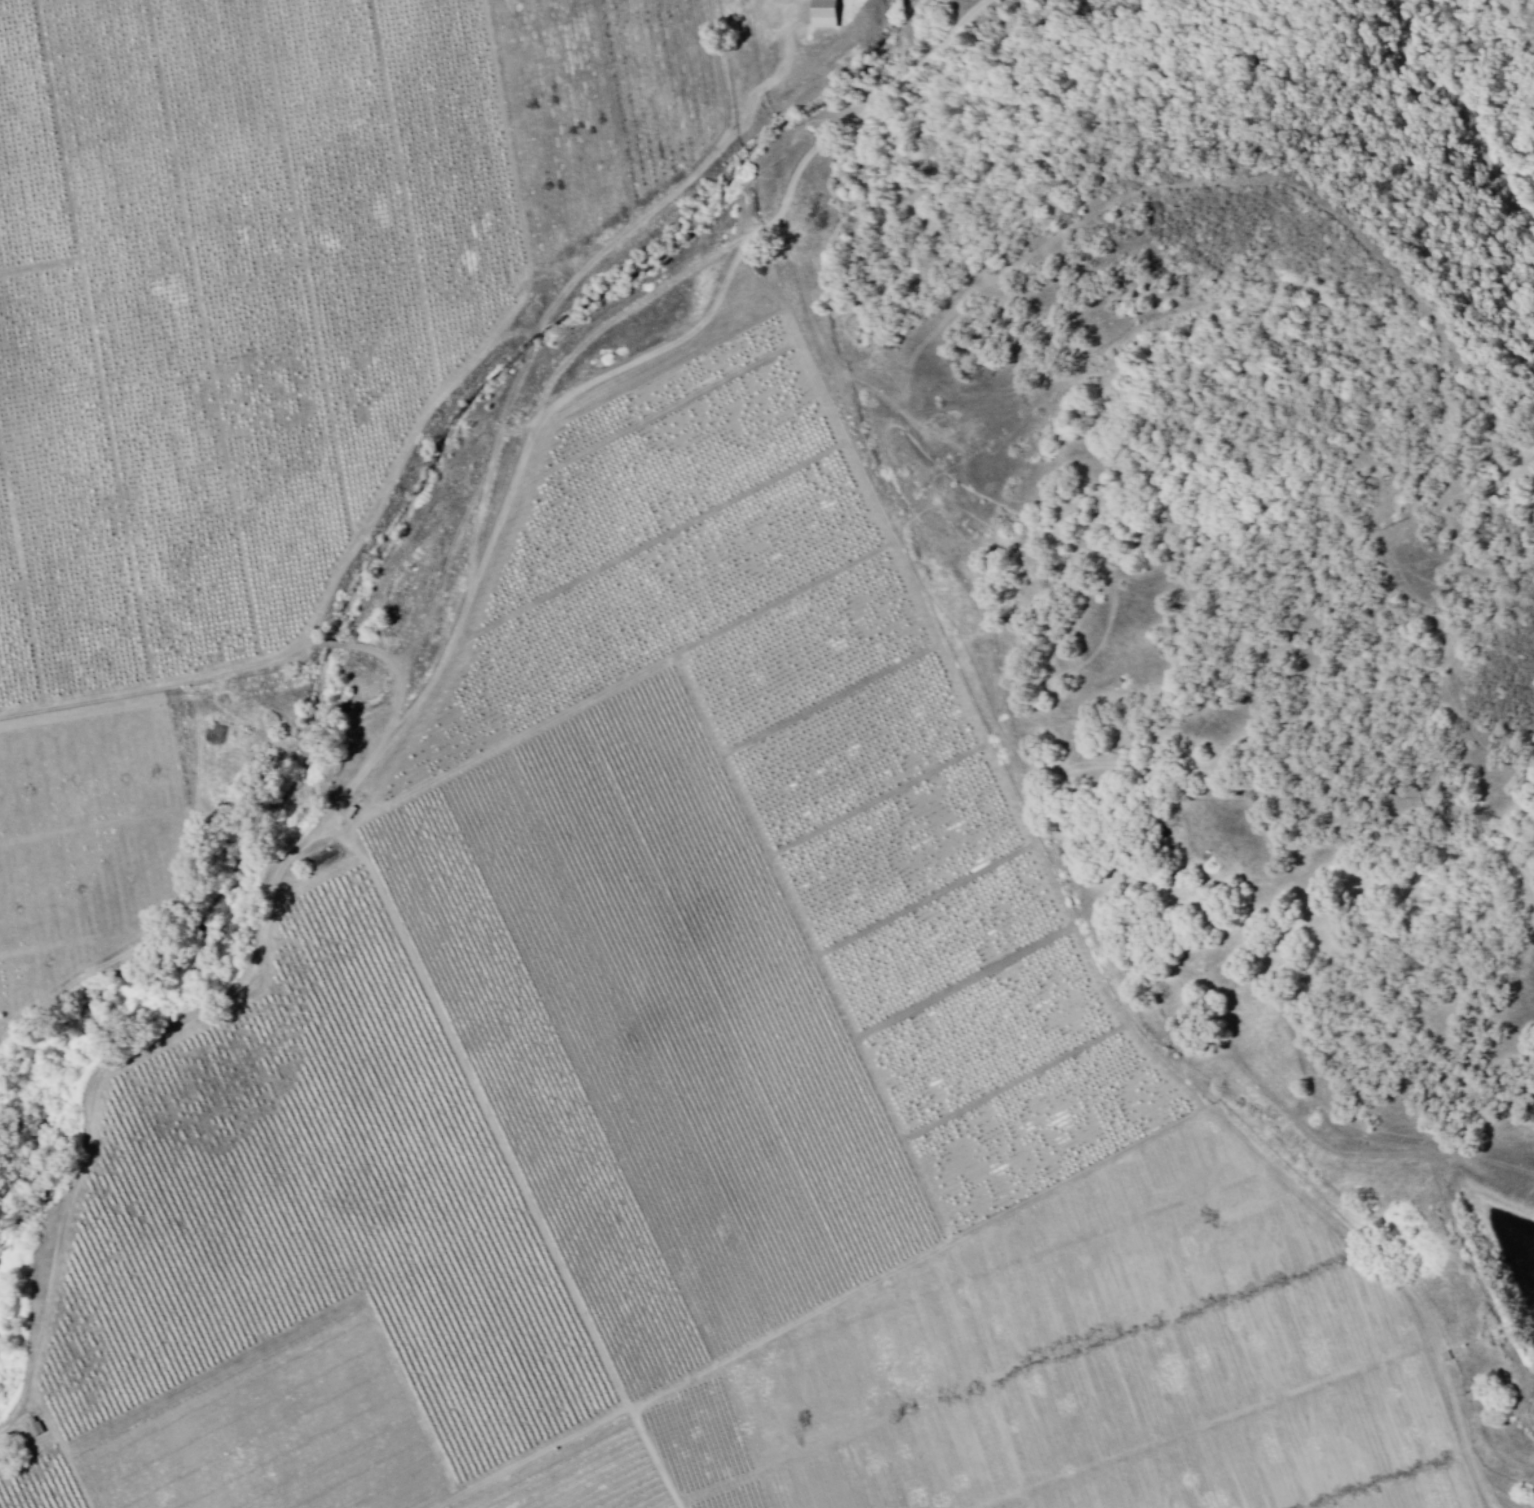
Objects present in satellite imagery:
building: (825, 15)
road: (434, 684)
building: (35, 1428)

